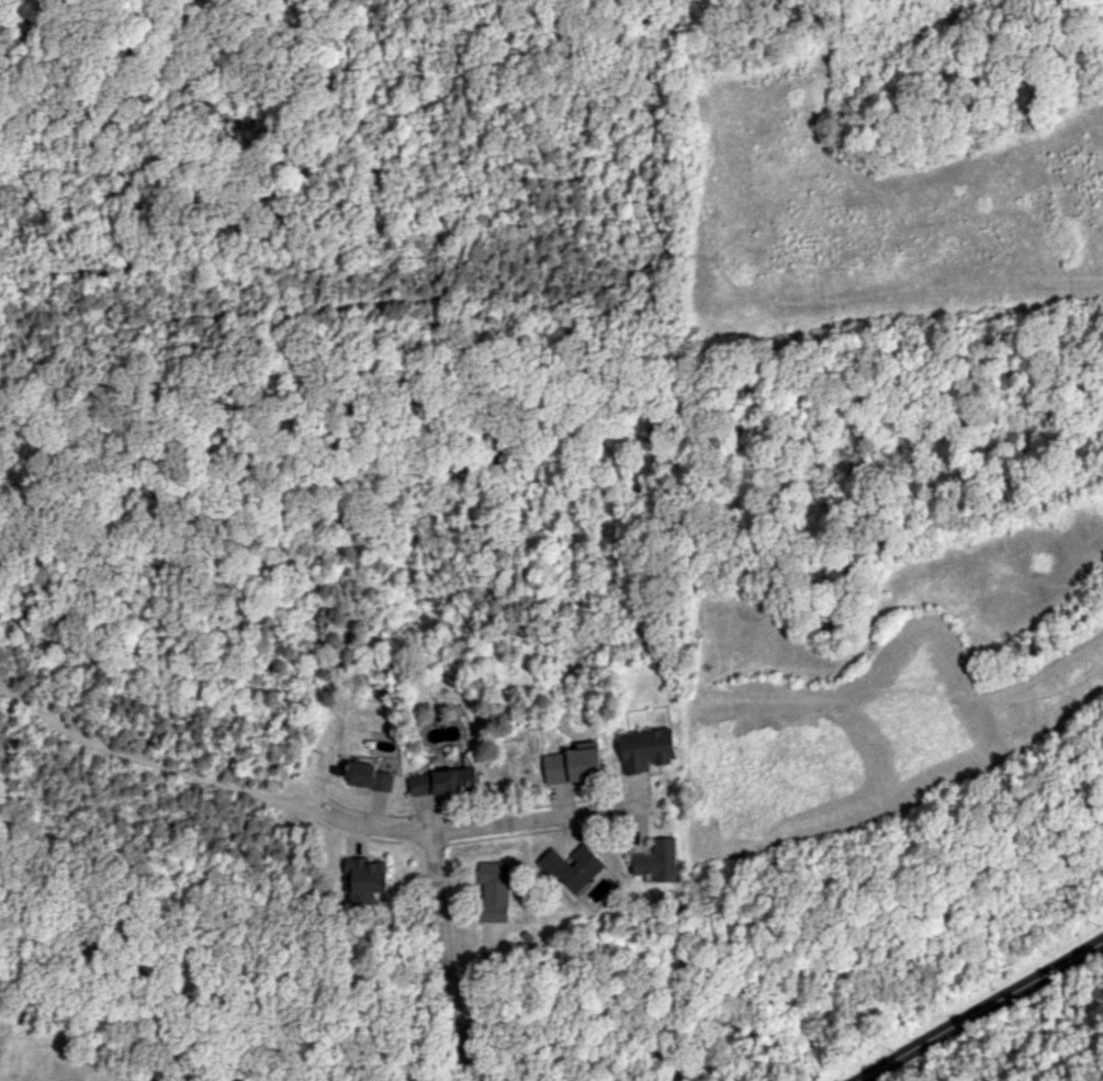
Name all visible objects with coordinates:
building: (646, 748)
building: (572, 765)
building: (367, 776)
building: (468, 777)
building: (432, 782)
road: (484, 823)
building: (659, 860)
building: (574, 867)
building: (364, 879)
building: (495, 890)
road: (444, 956)
road: (979, 1009)

